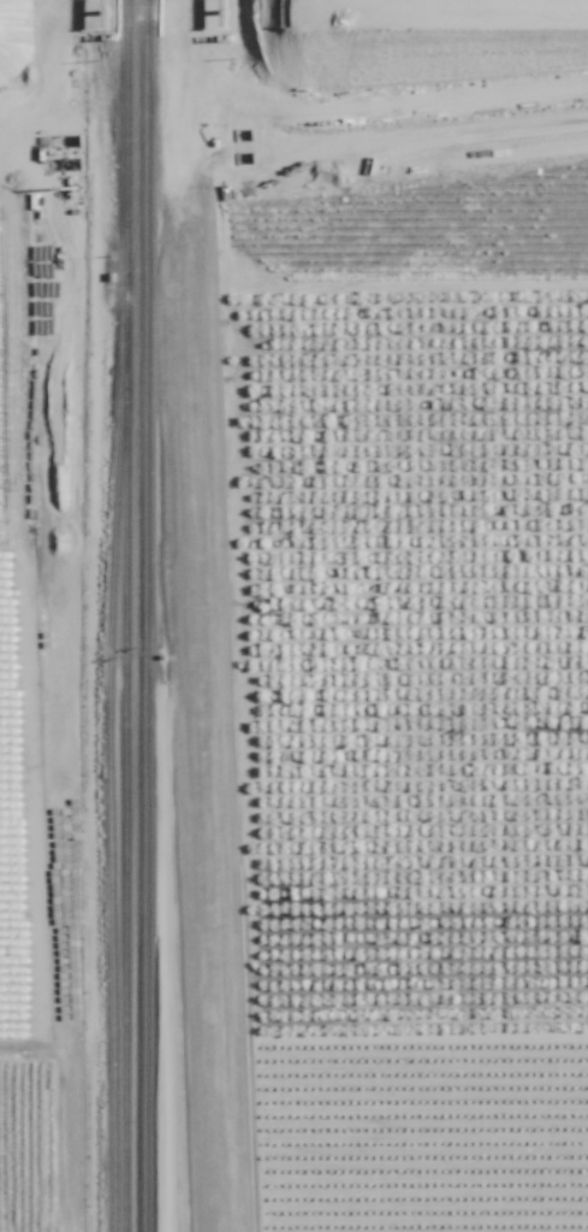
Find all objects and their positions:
road: (501, 0)
railway: (58, 22)
railway: (75, 22)
railway: (129, 178)
railway: (148, 615)
railway: (84, 638)
railway: (107, 638)
crop: (416, 652)
railway: (111, 794)
railway: (127, 794)
railway: (194, 894)
railway: (207, 894)

